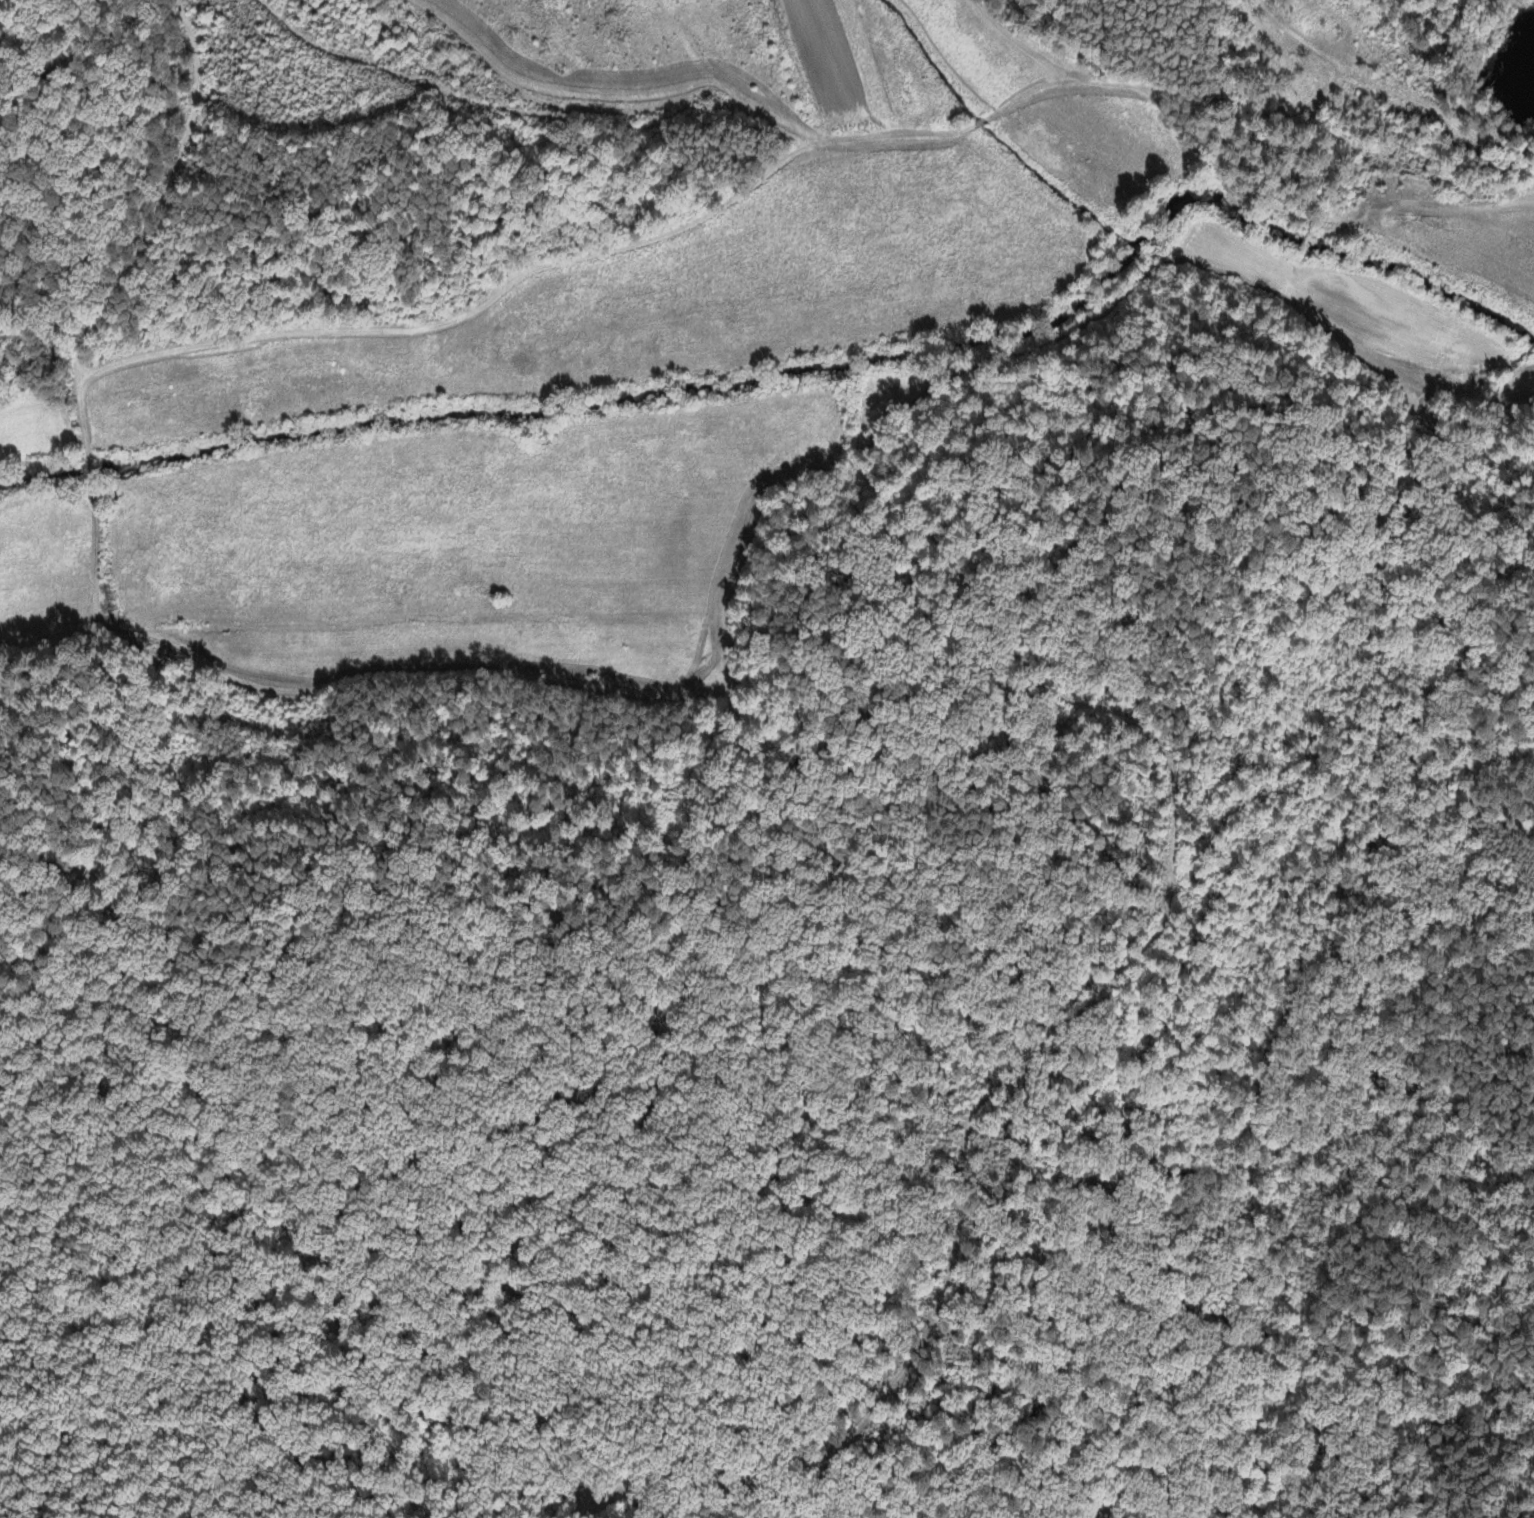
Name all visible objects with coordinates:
road: (393, 83)
road: (1373, 214)

